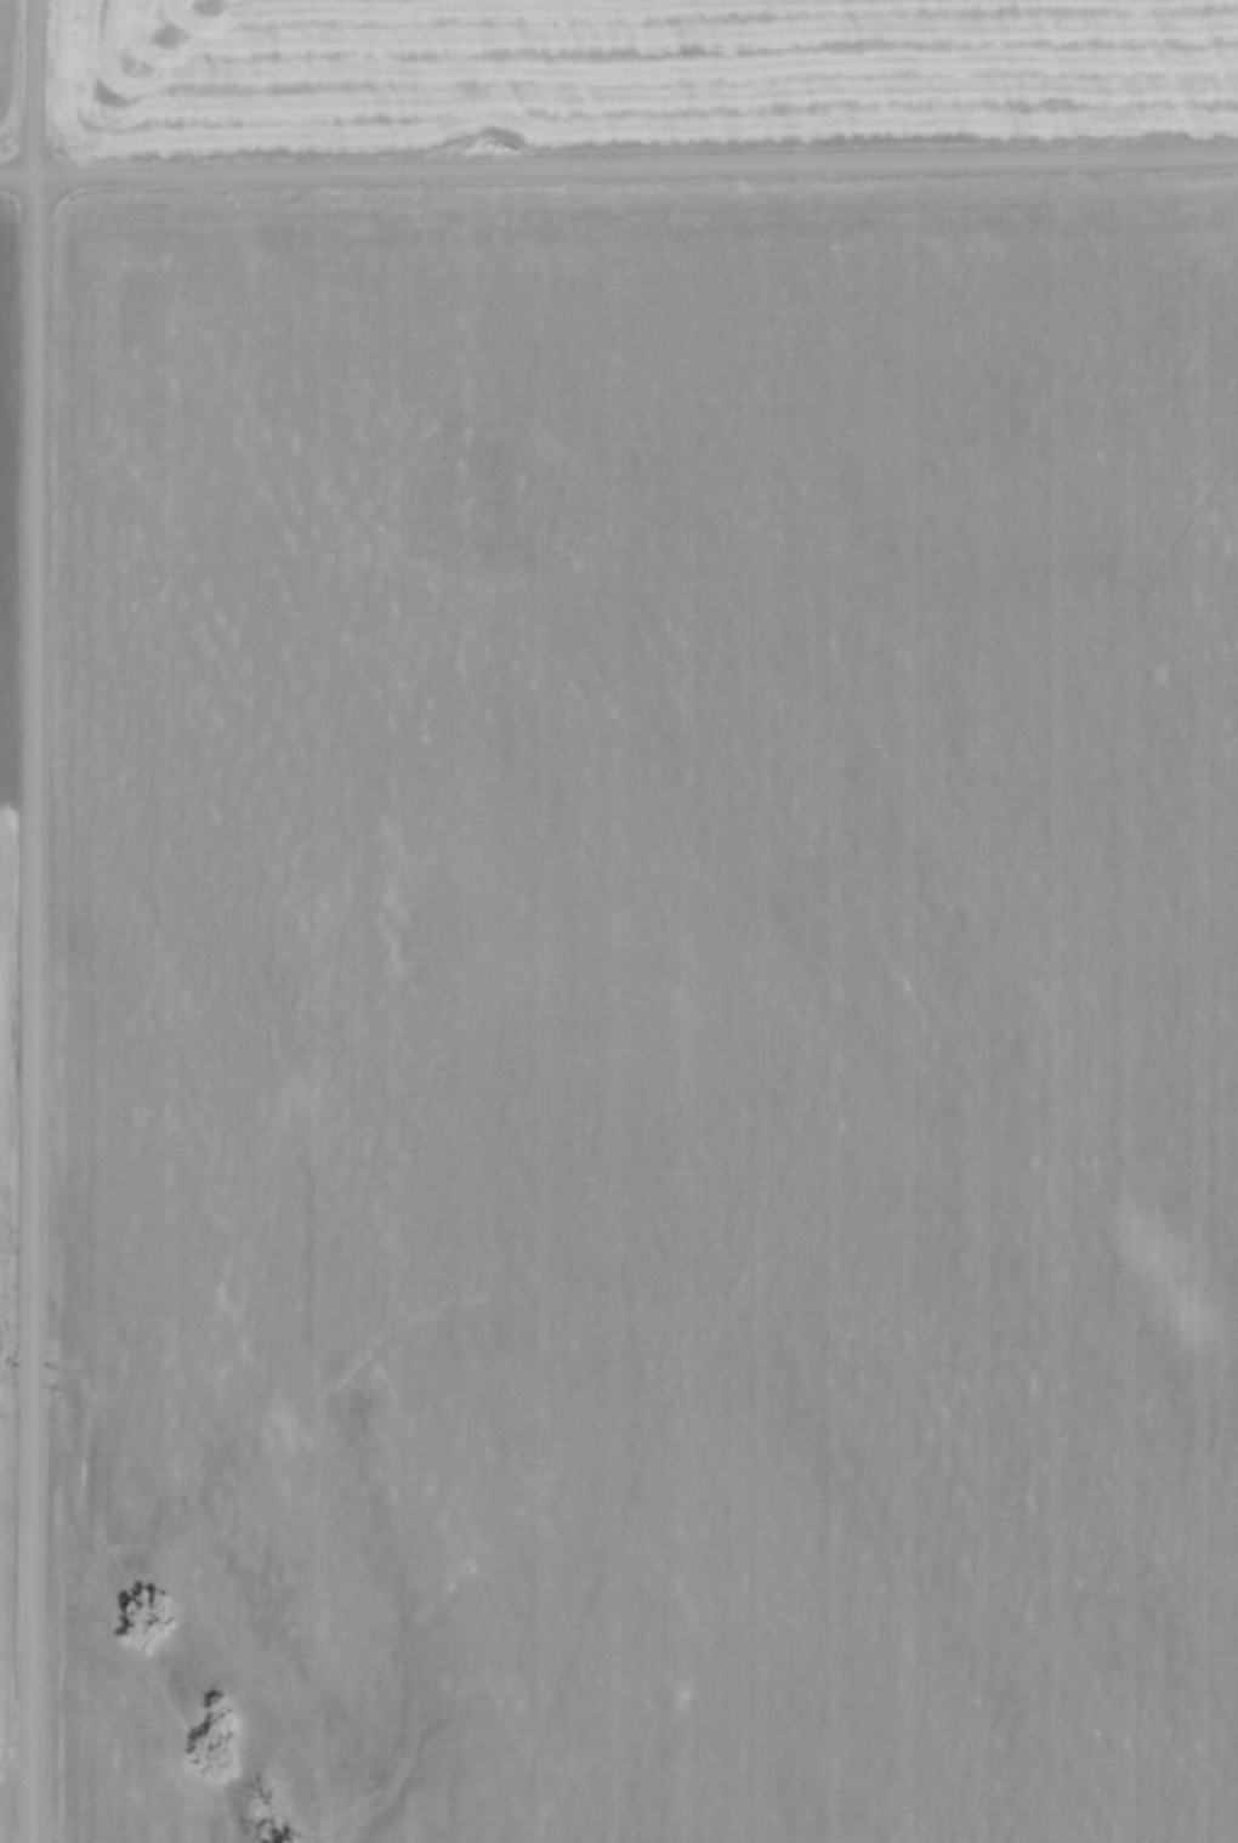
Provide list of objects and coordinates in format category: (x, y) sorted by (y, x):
crop: (7, 64)
crop: (634, 70)
road: (619, 168)
crop: (6, 850)
road: (39, 921)
crop: (652, 1010)

